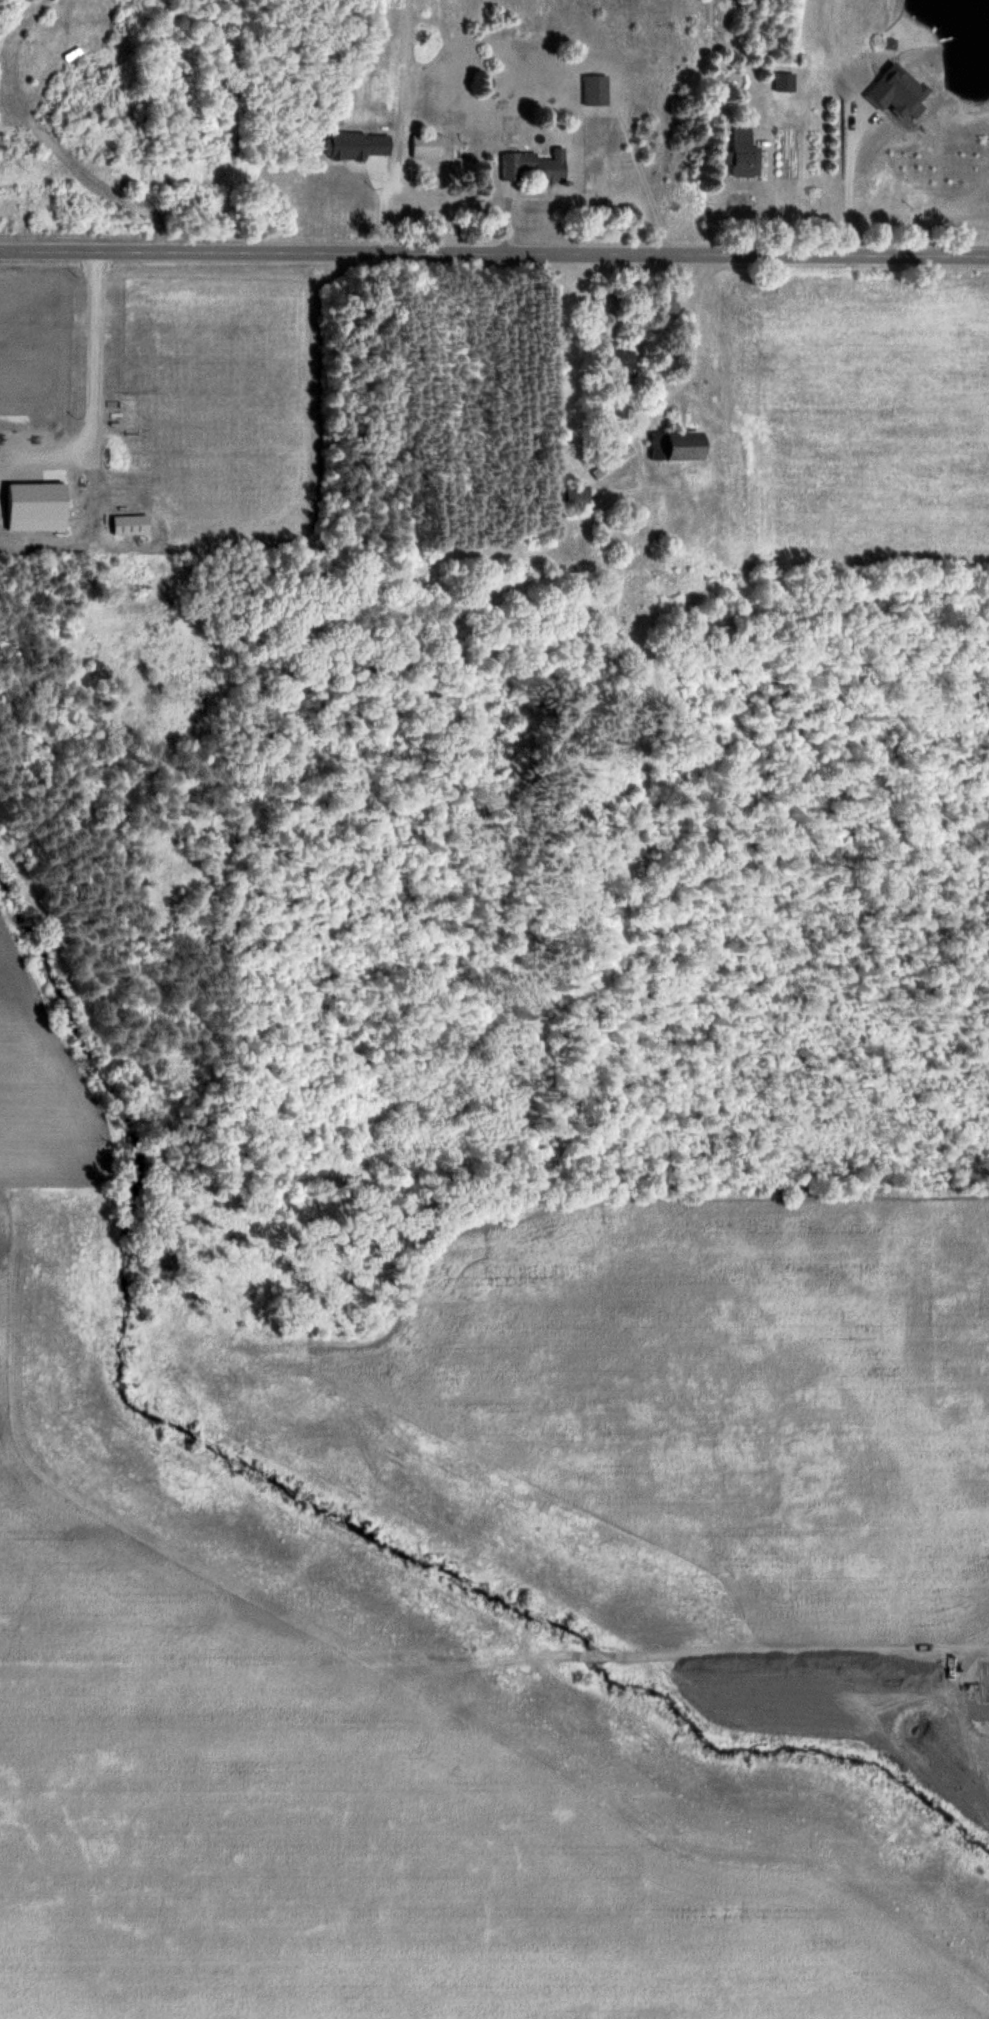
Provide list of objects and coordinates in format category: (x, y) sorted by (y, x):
building: (596, 89)
building: (429, 145)
building: (746, 153)
building: (534, 166)
road: (764, 193)
road: (494, 255)
building: (672, 301)
building: (623, 364)
building: (678, 446)
building: (578, 497)

